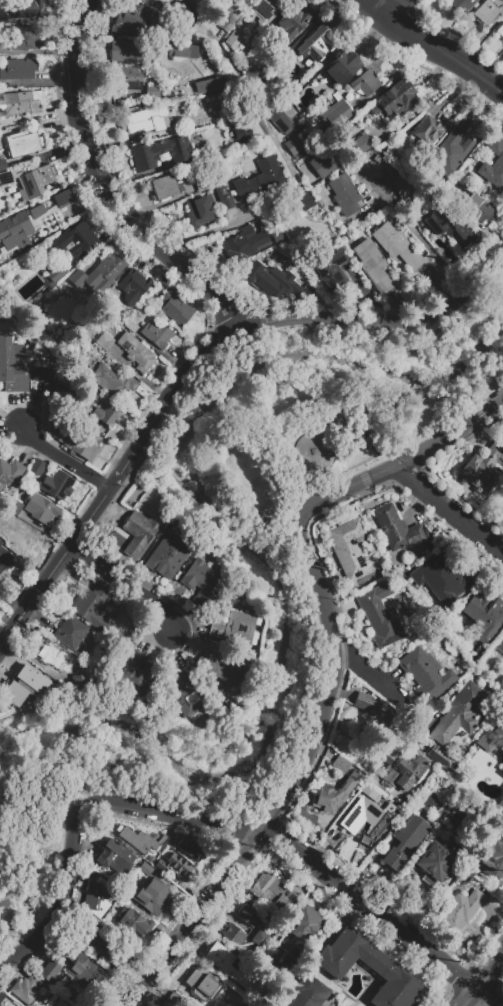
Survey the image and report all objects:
building: (145, 0)
building: (146, 0)
building: (156, 5)
building: (460, 5)
road: (389, 7)
building: (266, 8)
building: (26, 11)
building: (238, 11)
building: (488, 11)
building: (181, 14)
building: (3, 16)
building: (130, 19)
building: (293, 23)
building: (500, 30)
building: (27, 38)
building: (234, 40)
building: (315, 43)
road: (431, 47)
building: (129, 51)
building: (182, 51)
building: (342, 66)
building: (17, 70)
building: (253, 77)
building: (129, 81)
building: (365, 82)
building: (209, 84)
road: (500, 86)
building: (190, 88)
building: (154, 93)
building: (269, 93)
building: (395, 100)
building: (16, 103)
building: (221, 113)
building: (336, 114)
building: (148, 120)
building: (280, 121)
building: (430, 130)
building: (241, 131)
building: (23, 143)
building: (295, 147)
building: (160, 151)
building: (450, 152)
building: (3, 164)
building: (321, 164)
building: (493, 164)
building: (38, 179)
building: (6, 180)
building: (259, 180)
building: (162, 181)
building: (202, 184)
building: (404, 185)
road: (110, 188)
building: (169, 190)
building: (344, 195)
building: (63, 198)
building: (223, 198)
building: (305, 202)
road: (278, 206)
building: (473, 208)
building: (37, 210)
building: (198, 212)
building: (323, 225)
building: (448, 227)
building: (15, 232)
building: (75, 238)
building: (269, 239)
building: (234, 240)
building: (397, 245)
road: (426, 245)
building: (373, 265)
building: (109, 266)
building: (329, 268)
building: (272, 272)
building: (58, 275)
building: (79, 278)
building: (135, 288)
building: (174, 307)
road: (410, 321)
building: (131, 326)
building: (156, 334)
building: (104, 342)
building: (136, 353)
building: (88, 359)
building: (12, 366)
building: (50, 380)
building: (114, 383)
building: (107, 413)
building: (57, 433)
building: (82, 444)
building: (310, 450)
road: (64, 461)
road: (128, 463)
building: (37, 466)
building: (482, 467)
building: (10, 473)
building: (57, 485)
building: (40, 508)
road: (452, 510)
building: (396, 528)
building: (138, 534)
building: (21, 535)
building: (349, 549)
building: (169, 557)
building: (5, 561)
building: (442, 577)
building: (200, 581)
road: (124, 584)
building: (92, 605)
building: (485, 613)
building: (380, 615)
building: (235, 627)
building: (70, 633)
building: (500, 646)
building: (59, 658)
road: (367, 671)
building: (221, 672)
building: (426, 674)
building: (133, 675)
building: (29, 682)
building: (79, 682)
building: (188, 693)
building: (366, 704)
building: (458, 713)
building: (387, 733)
building: (485, 740)
road: (314, 748)
building: (442, 759)
building: (482, 760)
building: (340, 764)
building: (501, 767)
building: (402, 771)
building: (349, 783)
building: (502, 798)
building: (326, 799)
building: (369, 814)
building: (163, 838)
building: (138, 840)
building: (404, 841)
building: (189, 848)
building: (114, 856)
building: (492, 859)
building: (178, 862)
building: (435, 864)
building: (273, 890)
building: (149, 891)
building: (96, 898)
building: (462, 911)
building: (248, 915)
road: (377, 917)
road: (192, 920)
building: (133, 922)
building: (305, 924)
building: (234, 934)
building: (106, 946)
building: (345, 954)
building: (232, 968)
building: (83, 969)
building: (50, 971)
road: (484, 982)
building: (204, 984)
building: (394, 985)
building: (25, 988)
building: (307, 992)
building: (2, 996)
building: (74, 996)
building: (175, 1001)
building: (0, 1004)

